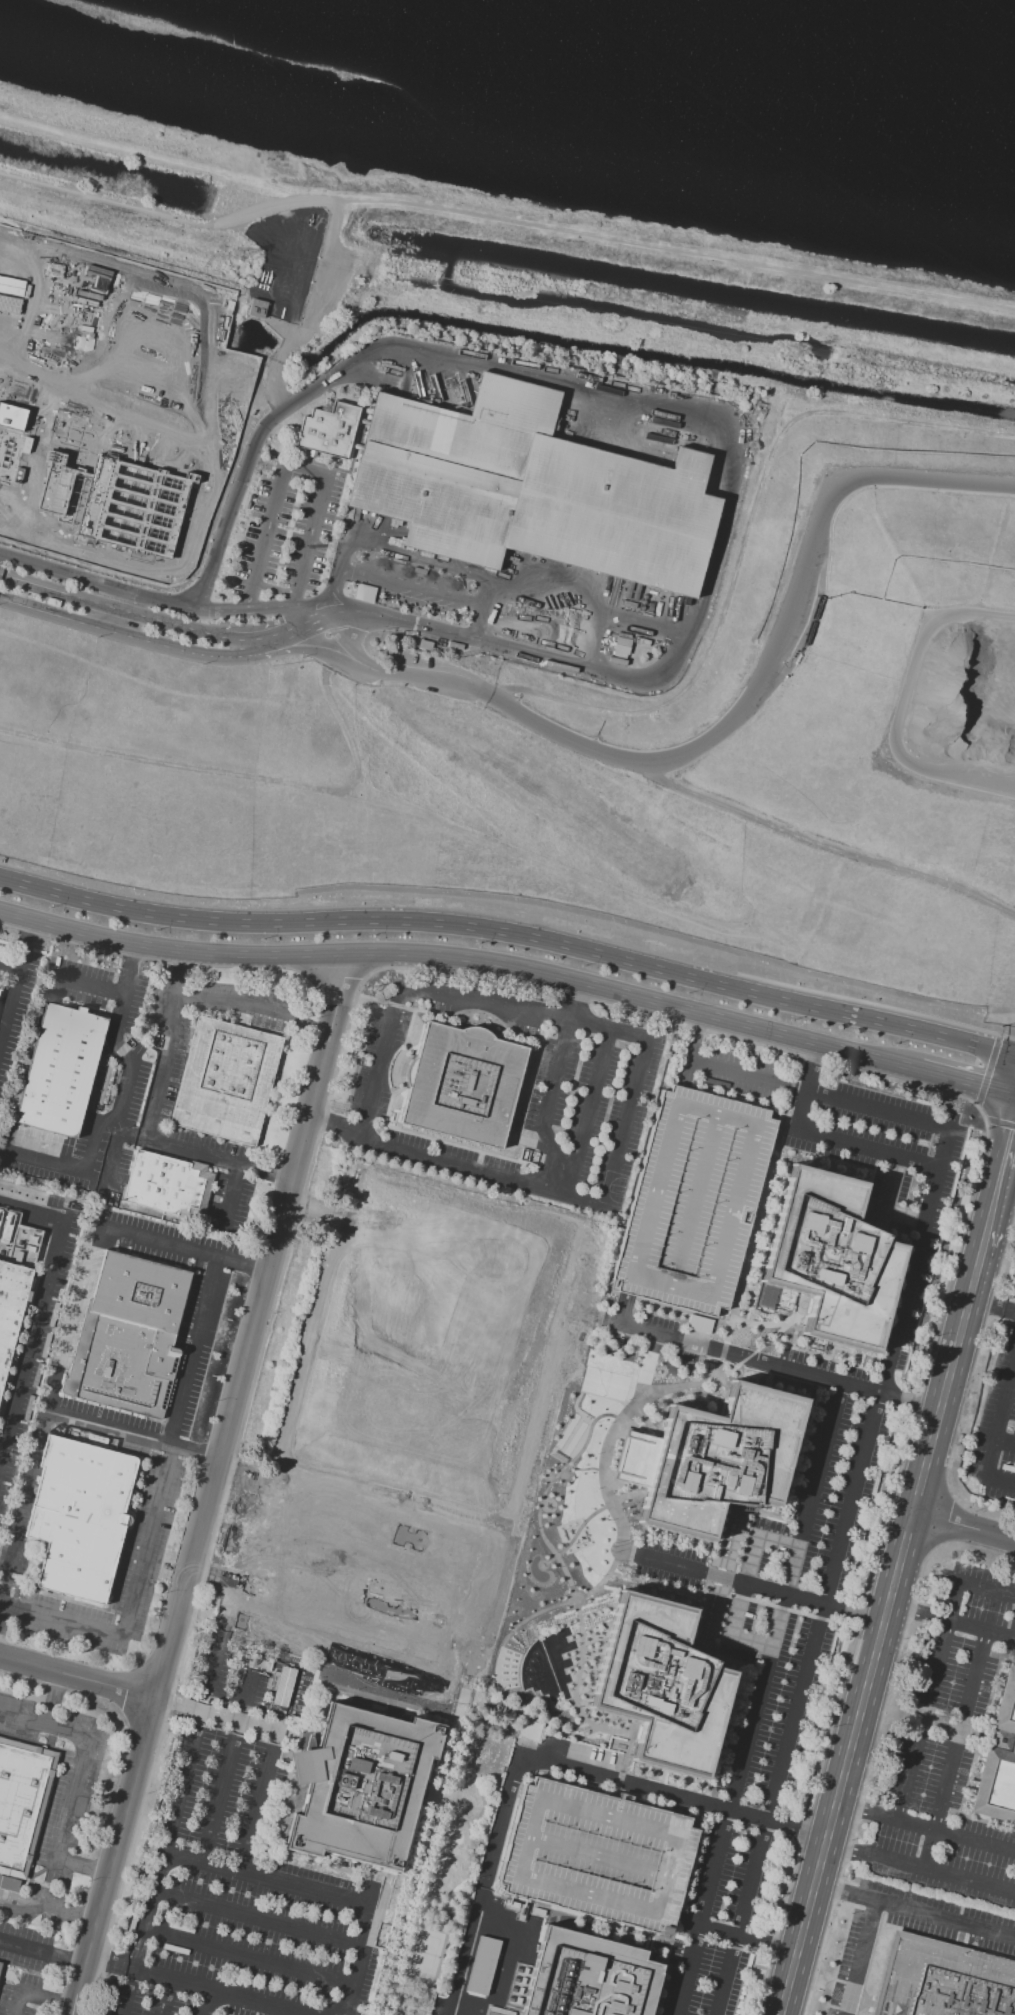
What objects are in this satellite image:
road: (143, 155)
road: (505, 220)
power tower: (240, 257)
building: (256, 308)
power tower: (791, 355)
road: (603, 393)
wastewater plant: (116, 403)
building: (328, 432)
building: (451, 467)
road: (291, 468)
building: (173, 486)
building: (616, 514)
road: (565, 521)
road: (400, 584)
road: (274, 589)
building: (365, 594)
road: (163, 604)
road: (244, 606)
road: (293, 613)
road: (484, 626)
road: (240, 637)
road: (145, 638)
building: (621, 645)
building: (425, 646)
road: (714, 731)
landfill: (581, 735)
road: (823, 844)
road: (511, 930)
road: (463, 962)
road: (11, 963)
road: (131, 963)
road: (180, 965)
road: (89, 991)
road: (241, 1001)
road: (574, 1003)
road: (522, 1008)
road: (11, 1009)
road: (318, 1024)
road: (695, 1039)
road: (166, 1059)
building: (59, 1064)
road: (378, 1066)
building: (223, 1083)
building: (466, 1083)
road: (966, 1085)
road: (806, 1087)
traffic signals: (979, 1089)
road: (819, 1095)
road: (546, 1107)
road: (587, 1111)
road: (116, 1115)
road: (623, 1123)
road: (333, 1126)
traffic signals: (1012, 1131)
road: (867, 1148)
road: (188, 1150)
road: (110, 1158)
road: (480, 1170)
road: (274, 1174)
road: (999, 1181)
building: (162, 1188)
road: (234, 1195)
building: (694, 1200)
parking lot: (694, 1200)
road: (117, 1232)
building: (832, 1259)
road: (250, 1269)
building: (14, 1283)
road: (581, 1292)
road: (990, 1310)
road: (71, 1319)
building: (131, 1335)
road: (34, 1348)
road: (706, 1348)
road: (191, 1352)
road: (909, 1401)
road: (1000, 1428)
road: (133, 1435)
road: (1006, 1440)
building: (711, 1459)
road: (1001, 1484)
road: (211, 1485)
road: (24, 1511)
building: (79, 1517)
road: (963, 1527)
road: (779, 1534)
road: (147, 1542)
road: (664, 1562)
road: (831, 1572)
road: (742, 1587)
road: (986, 1592)
road: (794, 1596)
road: (61, 1622)
road: (950, 1622)
road: (879, 1628)
road: (748, 1651)
road: (77, 1678)
building: (660, 1685)
road: (757, 1699)
road: (54, 1700)
road: (927, 1703)
road: (923, 1723)
road: (44, 1726)
building: (530, 1731)
road: (190, 1746)
parking lot: (946, 1749)
road: (954, 1751)
road: (981, 1757)
road: (229, 1759)
road: (544, 1759)
building: (1000, 1760)
road: (267, 1769)
building: (361, 1787)
building: (22, 1801)
road: (71, 1802)
road: (924, 1828)
building: (594, 1857)
road: (82, 1868)
road: (918, 1869)
road: (264, 1878)
building: (9, 1884)
road: (833, 1892)
road: (34, 1903)
road: (83, 1917)
road: (935, 1918)
road: (258, 1919)
building: (382, 1927)
road: (747, 1936)
parking lot: (983, 1940)
road: (28, 1949)
road: (249, 1958)
road: (862, 1959)
road: (71, 1960)
road: (110, 1962)
road: (358, 1962)
building: (482, 1965)
building: (0, 1966)
building: (588, 1977)
building: (942, 1980)
road: (94, 1987)
road: (217, 1992)
road: (829, 1993)
road: (166, 1997)
road: (49, 2000)
road: (18, 2002)
road: (206, 2003)

